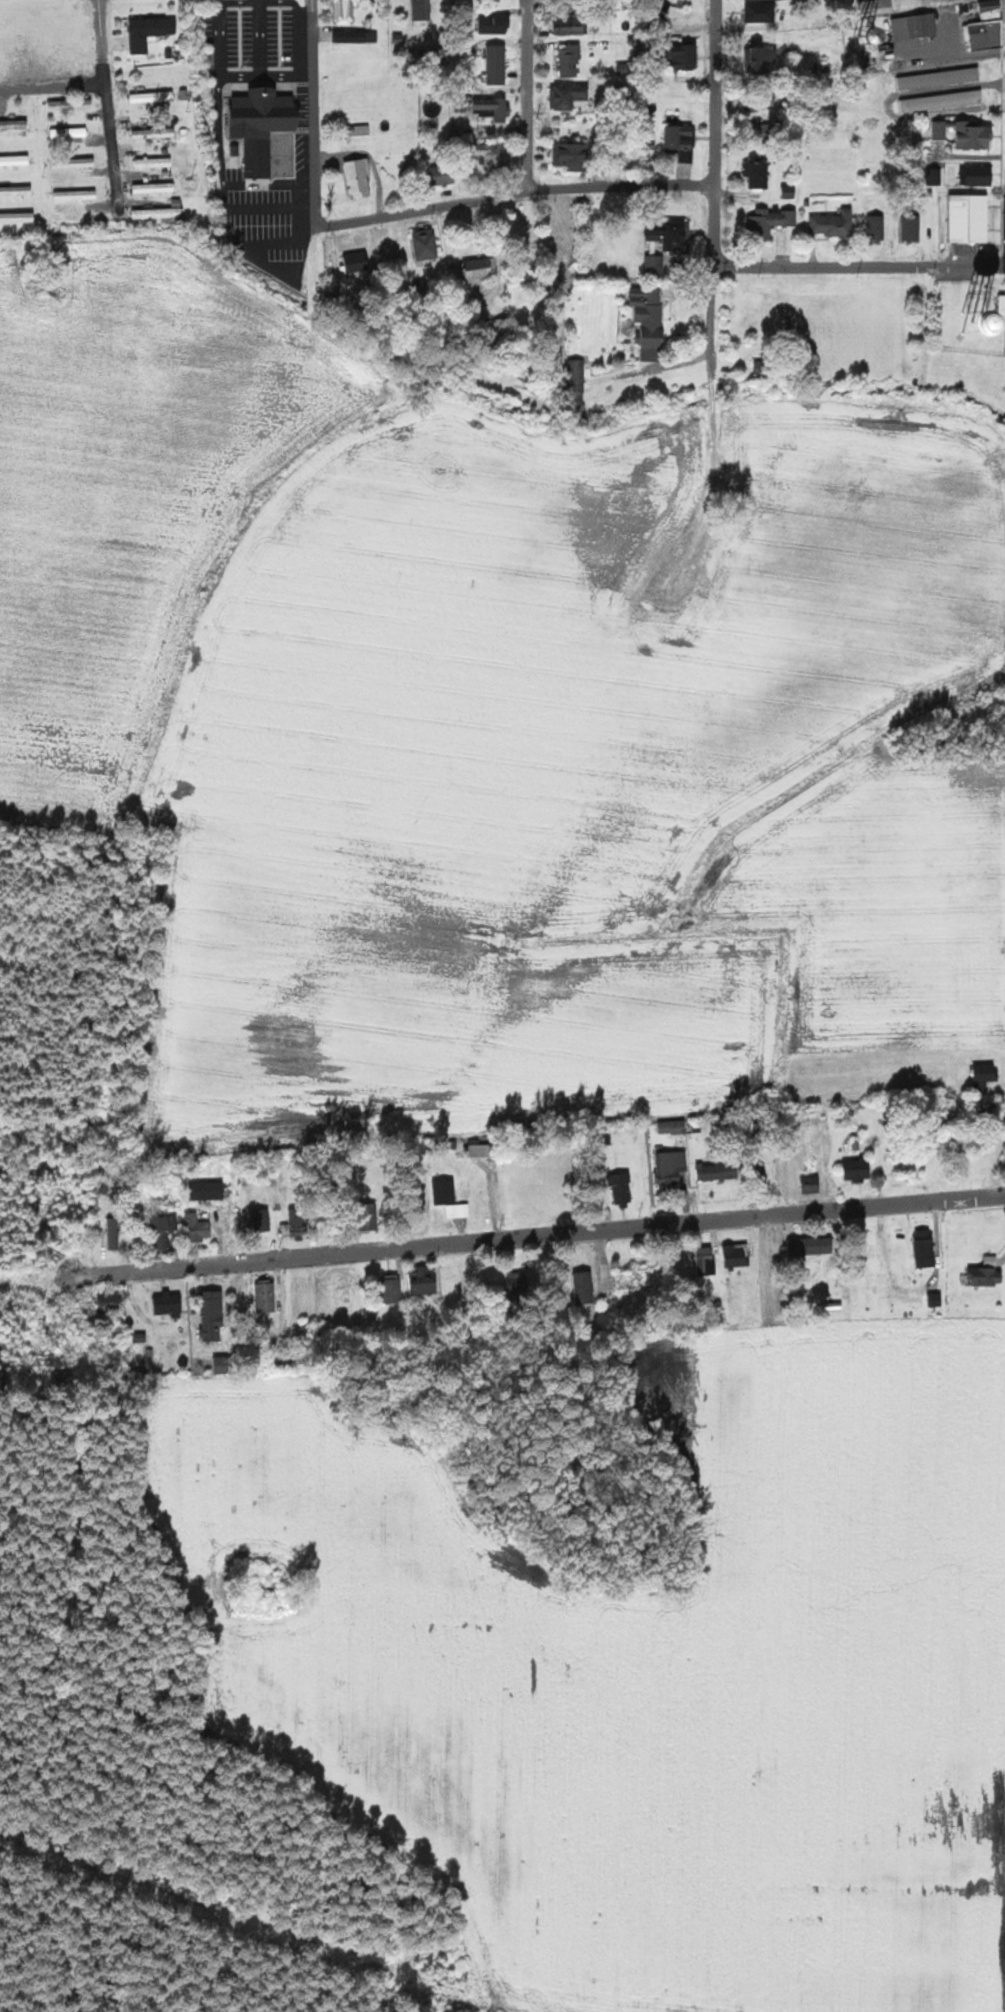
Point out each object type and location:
building: (876, 6)
building: (423, 9)
building: (347, 11)
building: (763, 11)
building: (917, 23)
building: (498, 24)
building: (572, 26)
building: (150, 32)
building: (987, 33)
building: (356, 36)
building: (570, 60)
building: (766, 60)
building: (498, 64)
building: (940, 77)
road: (53, 86)
building: (154, 96)
building: (571, 96)
road: (530, 99)
building: (944, 100)
road: (109, 108)
building: (493, 108)
road: (316, 115)
building: (15, 125)
building: (264, 125)
building: (939, 129)
building: (351, 132)
building: (71, 133)
building: (155, 133)
building: (974, 135)
building: (682, 141)
building: (494, 154)
building: (443, 156)
building: (573, 156)
building: (16, 160)
building: (76, 162)
building: (155, 162)
building: (759, 174)
building: (445, 175)
building: (979, 175)
building: (360, 178)
building: (155, 187)
building: (17, 190)
building: (790, 191)
building: (77, 195)
road: (517, 200)
building: (162, 212)
building: (18, 217)
road: (714, 222)
building: (770, 222)
building: (834, 223)
building: (874, 227)
building: (912, 227)
building: (671, 233)
building: (427, 244)
building: (358, 261)
building: (656, 264)
road: (859, 266)
building: (474, 272)
building: (651, 319)
water tower: (973, 323)
building: (764, 368)
building: (578, 386)
building: (985, 1074)
building: (672, 1126)
building: (478, 1150)
building: (672, 1167)
building: (860, 1169)
building: (719, 1171)
building: (812, 1181)
building: (623, 1187)
building: (208, 1190)
building: (450, 1198)
building: (263, 1219)
building: (297, 1223)
building: (198, 1227)
building: (164, 1231)
building: (113, 1232)
road: (553, 1235)
building: (814, 1245)
building: (926, 1248)
building: (737, 1255)
building: (707, 1260)
building: (992, 1260)
building: (988, 1276)
building: (422, 1280)
road: (50, 1283)
building: (521, 1284)
building: (586, 1287)
building: (392, 1288)
building: (267, 1295)
building: (937, 1299)
building: (107, 1301)
building: (169, 1302)
building: (213, 1314)
building: (226, 1364)

